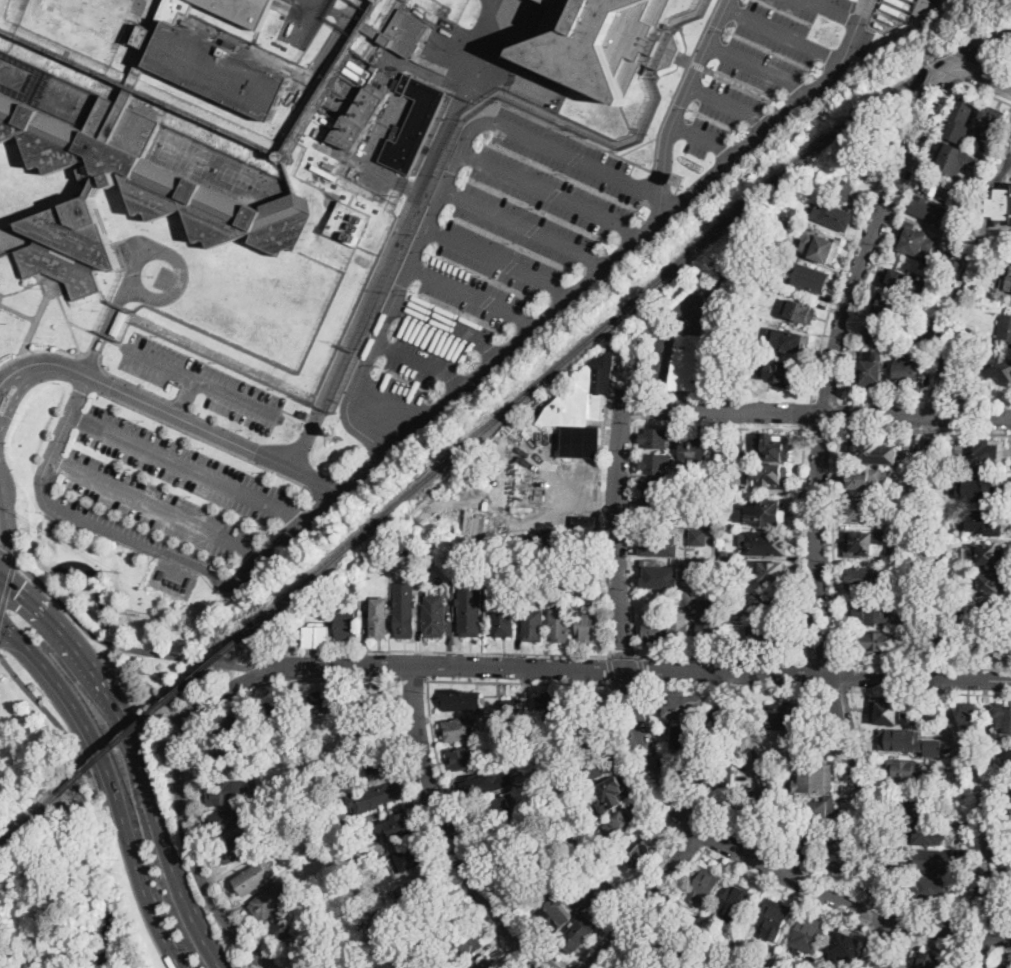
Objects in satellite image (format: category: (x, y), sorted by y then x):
building: (379, 1)
building: (921, 5)
building: (243, 10)
road: (833, 11)
building: (401, 33)
road: (784, 33)
building: (605, 41)
road: (972, 57)
parking lot: (764, 67)
building: (374, 68)
road: (761, 68)
road: (966, 68)
road: (999, 68)
road: (943, 76)
road: (996, 82)
road: (732, 105)
building: (361, 116)
building: (959, 120)
building: (328, 121)
road: (774, 123)
building: (415, 124)
building: (991, 126)
road: (706, 138)
building: (88, 149)
building: (282, 155)
building: (952, 158)
building: (309, 164)
building: (825, 174)
building: (682, 177)
building: (938, 187)
building: (844, 190)
road: (552, 192)
building: (804, 196)
road: (439, 200)
building: (1003, 207)
building: (929, 210)
road: (901, 211)
building: (834, 216)
building: (349, 224)
road: (525, 227)
building: (914, 240)
road: (853, 243)
building: (820, 246)
building: (1003, 251)
parking lot: (505, 253)
road: (499, 261)
building: (928, 266)
building: (955, 266)
building: (765, 275)
building: (811, 278)
building: (900, 280)
building: (1009, 281)
road: (474, 293)
building: (1005, 293)
building: (991, 301)
building: (892, 306)
railway: (622, 311)
building: (799, 311)
building: (926, 319)
building: (119, 322)
road: (448, 328)
building: (1005, 330)
building: (986, 331)
building: (934, 333)
building: (878, 335)
building: (792, 341)
road: (421, 363)
building: (700, 363)
building: (999, 368)
building: (958, 369)
road: (178, 370)
building: (871, 372)
road: (656, 373)
building: (909, 373)
building: (783, 374)
road: (22, 386)
building: (737, 386)
road: (829, 397)
road: (928, 399)
road: (445, 400)
building: (3, 401)
road: (251, 403)
building: (582, 409)
road: (810, 414)
road: (816, 415)
road: (842, 417)
road: (720, 426)
building: (509, 427)
building: (335, 429)
road: (821, 429)
road: (923, 431)
road: (303, 438)
building: (656, 438)
building: (931, 445)
building: (773, 446)
building: (914, 450)
road: (924, 450)
building: (875, 451)
building: (735, 452)
building: (692, 453)
building: (982, 453)
building: (655, 464)
parking lot: (186, 465)
road: (187, 467)
building: (769, 476)
building: (861, 478)
building: (657, 488)
building: (725, 488)
building: (979, 488)
road: (157, 507)
building: (862, 511)
building: (768, 513)
building: (655, 514)
road: (816, 521)
building: (987, 521)
building: (481, 525)
building: (893, 525)
building: (491, 532)
building: (586, 532)
building: (698, 535)
road: (600, 538)
road: (628, 539)
building: (659, 542)
road: (715, 542)
building: (767, 543)
building: (865, 544)
road: (143, 546)
road: (801, 546)
road: (834, 546)
building: (936, 550)
road: (7, 554)
building: (988, 556)
building: (460, 558)
building: (698, 566)
building: (727, 567)
building: (771, 571)
building: (659, 574)
building: (579, 575)
building: (868, 579)
building: (394, 580)
building: (990, 584)
road: (6, 586)
building: (904, 587)
traffic signals: (21, 589)
building: (689, 597)
building: (769, 603)
building: (867, 612)
building: (988, 614)
building: (379, 616)
building: (503, 617)
building: (404, 620)
building: (435, 620)
building: (470, 620)
building: (704, 623)
building: (345, 624)
building: (560, 625)
building: (533, 626)
building: (588, 627)
building: (653, 628)
building: (680, 629)
building: (735, 630)
building: (316, 637)
building: (946, 637)
building: (775, 639)
building: (876, 642)
building: (996, 645)
road: (126, 646)
road: (427, 649)
road: (624, 655)
road: (727, 658)
road: (830, 661)
road: (927, 664)
road: (612, 669)
road: (640, 670)
road: (642, 670)
road: (846, 674)
road: (815, 675)
road: (413, 678)
road: (521, 681)
road: (630, 685)
road: (735, 688)
road: (835, 689)
road: (223, 691)
road: (928, 691)
building: (372, 694)
building: (461, 700)
building: (747, 701)
building: (508, 703)
building: (319, 704)
building: (683, 705)
building: (552, 707)
railway: (158, 711)
building: (891, 712)
building: (721, 715)
building: (970, 715)
building: (277, 716)
building: (788, 717)
building: (1003, 719)
building: (228, 726)
building: (376, 729)
building: (460, 729)
building: (254, 733)
building: (500, 733)
building: (590, 734)
building: (689, 739)
building: (976, 740)
building: (270, 746)
building: (933, 746)
building: (985, 749)
building: (730, 750)
building: (225, 752)
road: (139, 753)
building: (465, 756)
building: (1006, 756)
road: (193, 757)
building: (381, 761)
building: (267, 763)
building: (601, 765)
road: (633, 768)
building: (765, 768)
building: (329, 770)
road: (752, 770)
building: (910, 771)
building: (715, 772)
building: (814, 778)
road: (111, 781)
road: (659, 781)
building: (483, 783)
building: (300, 786)
road: (848, 789)
building: (222, 793)
building: (385, 793)
building: (613, 794)
road: (881, 795)
building: (747, 796)
building: (787, 798)
building: (543, 799)
road: (555, 801)
building: (910, 802)
road: (95, 804)
building: (254, 804)
building: (821, 810)
building: (490, 812)
building: (996, 813)
building: (742, 817)
building: (969, 819)
railway: (29, 820)
building: (224, 820)
building: (291, 822)
road: (336, 824)
building: (626, 824)
building: (397, 826)
road: (693, 826)
road: (720, 827)
building: (783, 827)
road: (445, 830)
building: (829, 830)
building: (924, 833)
building: (298, 834)
road: (430, 835)
building: (552, 838)
road: (466, 839)
park: (51, 843)
building: (803, 843)
road: (693, 844)
building: (500, 845)
building: (649, 846)
building: (236, 848)
building: (970, 852)
building: (1001, 852)
building: (318, 853)
road: (985, 853)
building: (841, 856)
road: (192, 857)
building: (408, 858)
building: (929, 860)
building: (516, 868)
building: (255, 878)
building: (705, 885)
building: (932, 887)
building: (420, 889)
building: (981, 890)
building: (536, 892)
road: (785, 893)
building: (606, 895)
road: (646, 899)
road: (886, 900)
building: (269, 901)
building: (325, 902)
road: (629, 902)
building: (736, 902)
building: (974, 908)
road: (655, 909)
road: (873, 910)
building: (555, 915)
road: (955, 916)
building: (774, 919)
road: (902, 920)
building: (287, 923)
building: (444, 923)
building: (387, 926)
road: (887, 928)
building: (809, 933)
building: (579, 934)
building: (697, 937)
building: (663, 938)
building: (399, 939)
road: (683, 940)
road: (938, 942)
building: (312, 943)
building: (463, 946)
road: (871, 946)
building: (847, 947)
building: (687, 956)
building: (929, 960)
building: (629, 962)
building: (342, 963)
building: (490, 964)
building: (1002, 966)
building: (707, 967)
building: (762, 967)

